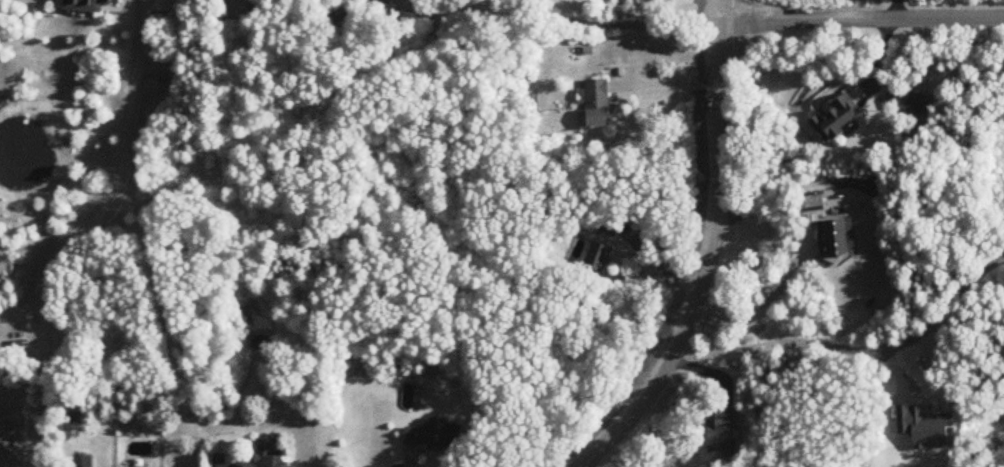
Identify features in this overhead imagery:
road: (893, 8)
road: (862, 17)
road: (596, 22)
road: (667, 83)
building: (598, 104)
building: (838, 118)
building: (811, 202)
building: (610, 224)
road: (81, 232)
building: (838, 239)
road: (710, 254)
building: (598, 257)
road: (764, 304)
road: (858, 351)
building: (725, 430)
building: (435, 436)
building: (268, 458)
building: (83, 461)

